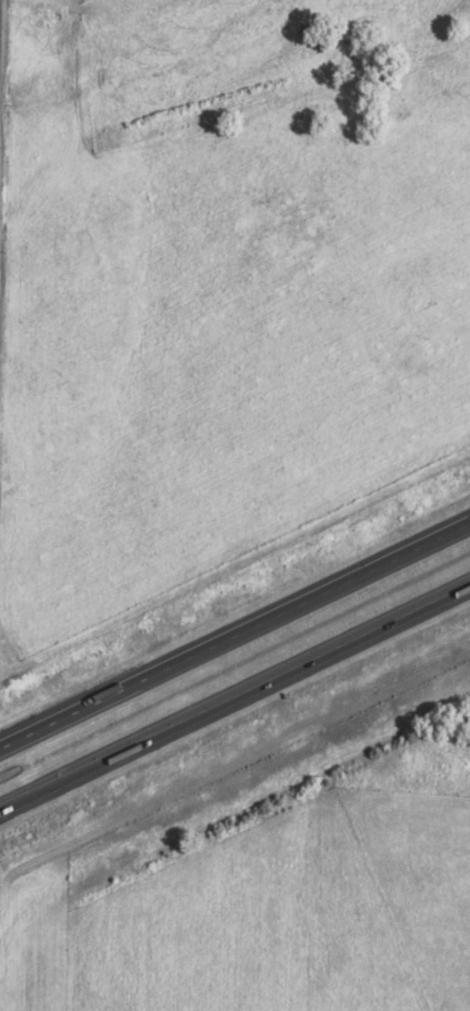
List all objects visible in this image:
road: (235, 634)
road: (234, 695)

